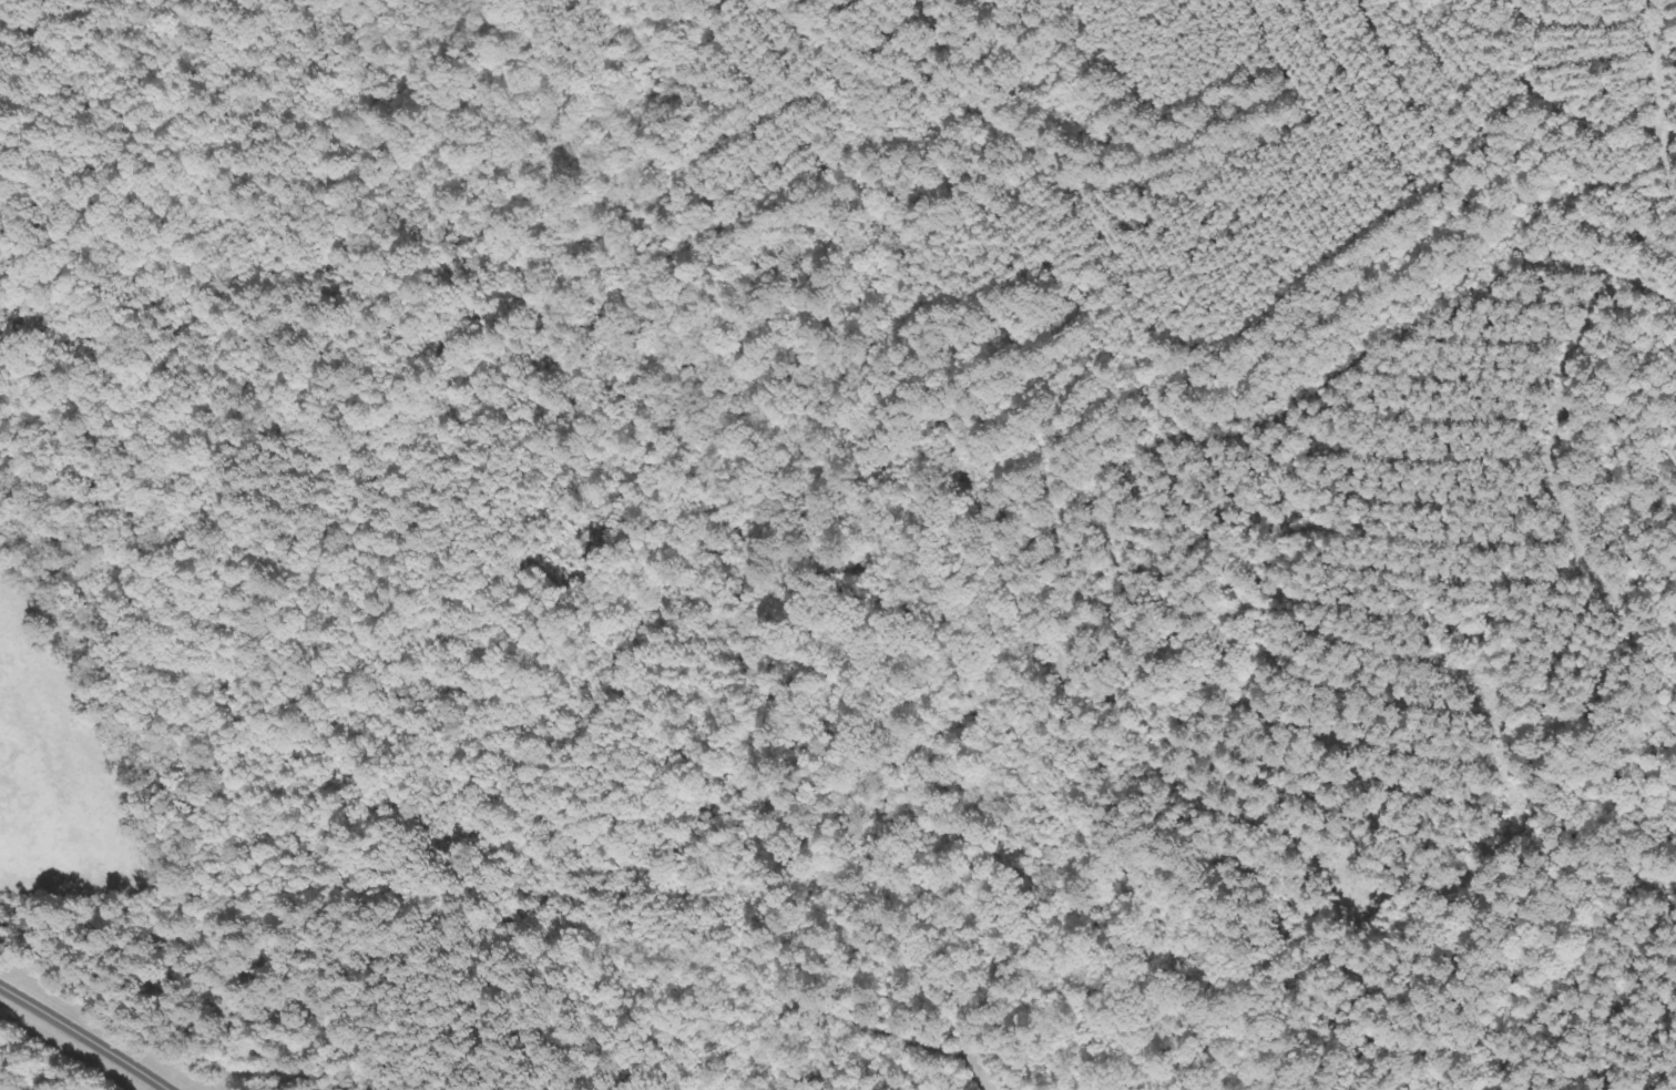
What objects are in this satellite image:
road: (76, 1041)

